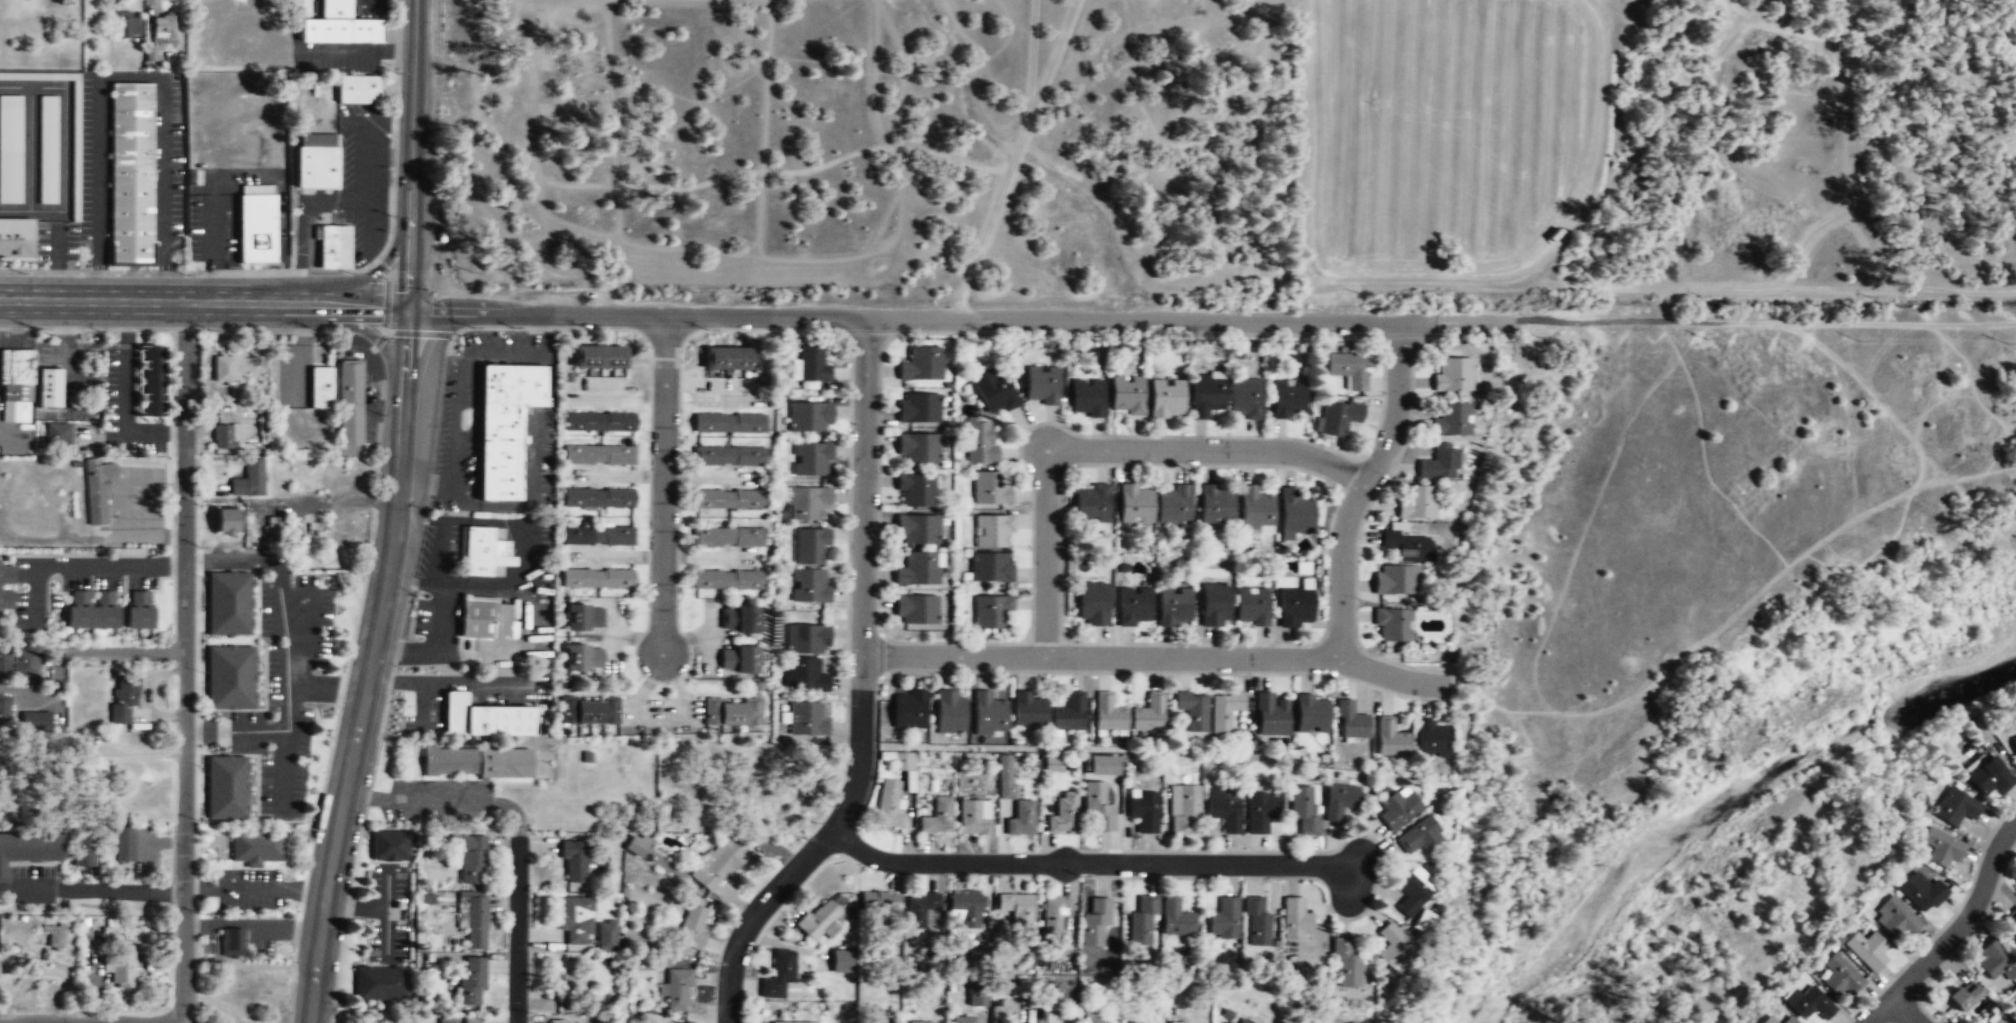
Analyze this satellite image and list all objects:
building: (299, 7)
building: (334, 8)
building: (125, 24)
building: (164, 25)
building: (338, 30)
road: (354, 50)
building: (148, 53)
road: (132, 77)
building: (358, 89)
road: (63, 119)
parking lot: (236, 119)
building: (10, 148)
road: (28, 148)
building: (47, 149)
building: (75, 151)
road: (1013, 159)
building: (316, 160)
road: (361, 166)
building: (131, 174)
road: (212, 204)
road: (27, 210)
road: (302, 218)
building: (256, 223)
building: (15, 237)
building: (334, 247)
road: (54, 256)
road: (358, 280)
road: (204, 302)
road: (918, 319)
road: (345, 324)
street lamp: (213, 327)
street lamp: (707, 329)
building: (599, 356)
building: (729, 358)
building: (920, 364)
building: (811, 365)
building: (1347, 368)
building: (218, 370)
building: (17, 375)
building: (1451, 375)
building: (151, 381)
building: (1041, 385)
building: (321, 386)
building: (48, 387)
building: (994, 390)
building: (1206, 395)
building: (1126, 396)
building: (1244, 397)
building: (1087, 398)
building: (1166, 399)
building: (1287, 400)
building: (350, 404)
building: (918, 409)
building: (1337, 416)
building: (810, 417)
building: (1450, 419)
building: (599, 420)
building: (728, 423)
building: (503, 427)
building: (57, 431)
building: (224, 437)
building: (981, 442)
road: (1105, 447)
building: (918, 449)
building: (599, 454)
building: (728, 456)
building: (811, 460)
building: (1438, 463)
building: (249, 479)
road: (667, 486)
road: (1361, 488)
building: (96, 489)
building: (990, 489)
building: (915, 491)
building: (598, 497)
building: (728, 499)
building: (1416, 502)
building: (806, 503)
building: (1090, 503)
building: (1132, 505)
building: (1171, 506)
building: (1214, 507)
building: (1254, 512)
building: (1293, 514)
road: (396, 515)
building: (231, 521)
building: (916, 530)
building: (344, 531)
building: (992, 532)
building: (597, 535)
building: (727, 537)
building: (1407, 545)
building: (810, 546)
building: (481, 552)
road: (84, 565)
building: (990, 568)
building: (916, 570)
building: (597, 578)
building: (726, 580)
building: (1396, 580)
building: (809, 586)
building: (6, 587)
building: (227, 604)
building: (1091, 605)
building: (1133, 606)
building: (1214, 606)
building: (1173, 607)
building: (1250, 607)
building: (1294, 607)
building: (91, 609)
building: (138, 610)
building: (915, 610)
building: (990, 612)
building: (583, 617)
building: (484, 619)
building: (738, 619)
building: (1392, 625)
building: (807, 640)
road: (124, 651)
road: (1153, 655)
building: (583, 657)
building: (4, 660)
building: (737, 660)
building: (25, 661)
road: (189, 662)
building: (804, 676)
building: (229, 677)
road: (861, 690)
building: (122, 701)
building: (1028, 709)
building: (908, 710)
building: (4, 711)
building: (588, 711)
building: (1193, 711)
building: (1224, 711)
building: (1068, 712)
building: (949, 713)
building: (1148, 713)
building: (731, 714)
building: (988, 714)
building: (1108, 714)
building: (1312, 714)
building: (1270, 715)
building: (484, 717)
building: (807, 719)
building: (35, 721)
building: (1349, 721)
building: (1389, 737)
building: (1431, 738)
building: (2013, 745)
building: (476, 762)
building: (903, 762)
building: (1103, 765)
building: (1005, 776)
building: (1988, 777)
building: (225, 788)
building: (1338, 802)
river: (1720, 803)
building: (889, 805)
building: (1098, 807)
building: (1183, 807)
building: (1224, 807)
building: (1302, 808)
building: (1398, 808)
building: (1954, 808)
building: (1143, 809)
building: (1259, 810)
building: (1062, 816)
building: (936, 817)
building: (973, 817)
building: (1020, 819)
building: (1419, 835)
street lamp: (803, 836)
building: (123, 843)
building: (389, 845)
building: (636, 845)
building: (256, 847)
building: (1940, 848)
building: (28, 849)
building: (81, 850)
building: (470, 857)
building: (573, 859)
road: (1088, 863)
building: (717, 866)
street lamp: (1080, 875)
road: (130, 888)
building: (1413, 889)
building: (1921, 893)
building: (879, 904)
building: (965, 908)
building: (1017, 908)
building: (920, 909)
building: (1054, 913)
building: (472, 916)
building: (1174, 917)
building: (575, 918)
building: (1224, 919)
building: (1294, 919)
building: (1894, 919)
building: (96, 920)
building: (1141, 920)
building: (1423, 920)
building: (819, 921)
building: (1095, 921)
building: (1256, 923)
building: (692, 926)
road: (1955, 930)
building: (2010, 930)
road: (518, 931)
building: (55, 936)
building: (606, 936)
building: (231, 942)
building: (1393, 947)
building: (1866, 951)
building: (980, 955)
street lamp: (715, 961)
building: (842, 961)
building: (1994, 961)
building: (1345, 962)
building: (120, 963)
building: (778, 974)
building: (1839, 977)
building: (471, 980)
building: (568, 981)
building: (380, 983)
building: (676, 989)
building: (1961, 998)
building: (977, 999)
building: (1811, 1005)
building: (2014, 1005)
road: (1904, 1009)
street lamp: (531, 1011)
building: (999, 1013)
building: (2015, 1013)
building: (965, 1019)
building: (447, 1020)
building: (474, 1020)
building: (1767, 1020)
building: (1788, 1020)
building: (2001, 1020)
building: (560, 1021)
building: (1177, 1021)
building: (1245, 1021)
building: (793, 1022)
building: (922, 1022)
building: (1098, 1022)
building: (1135, 1022)
building: (1228, 1022)

